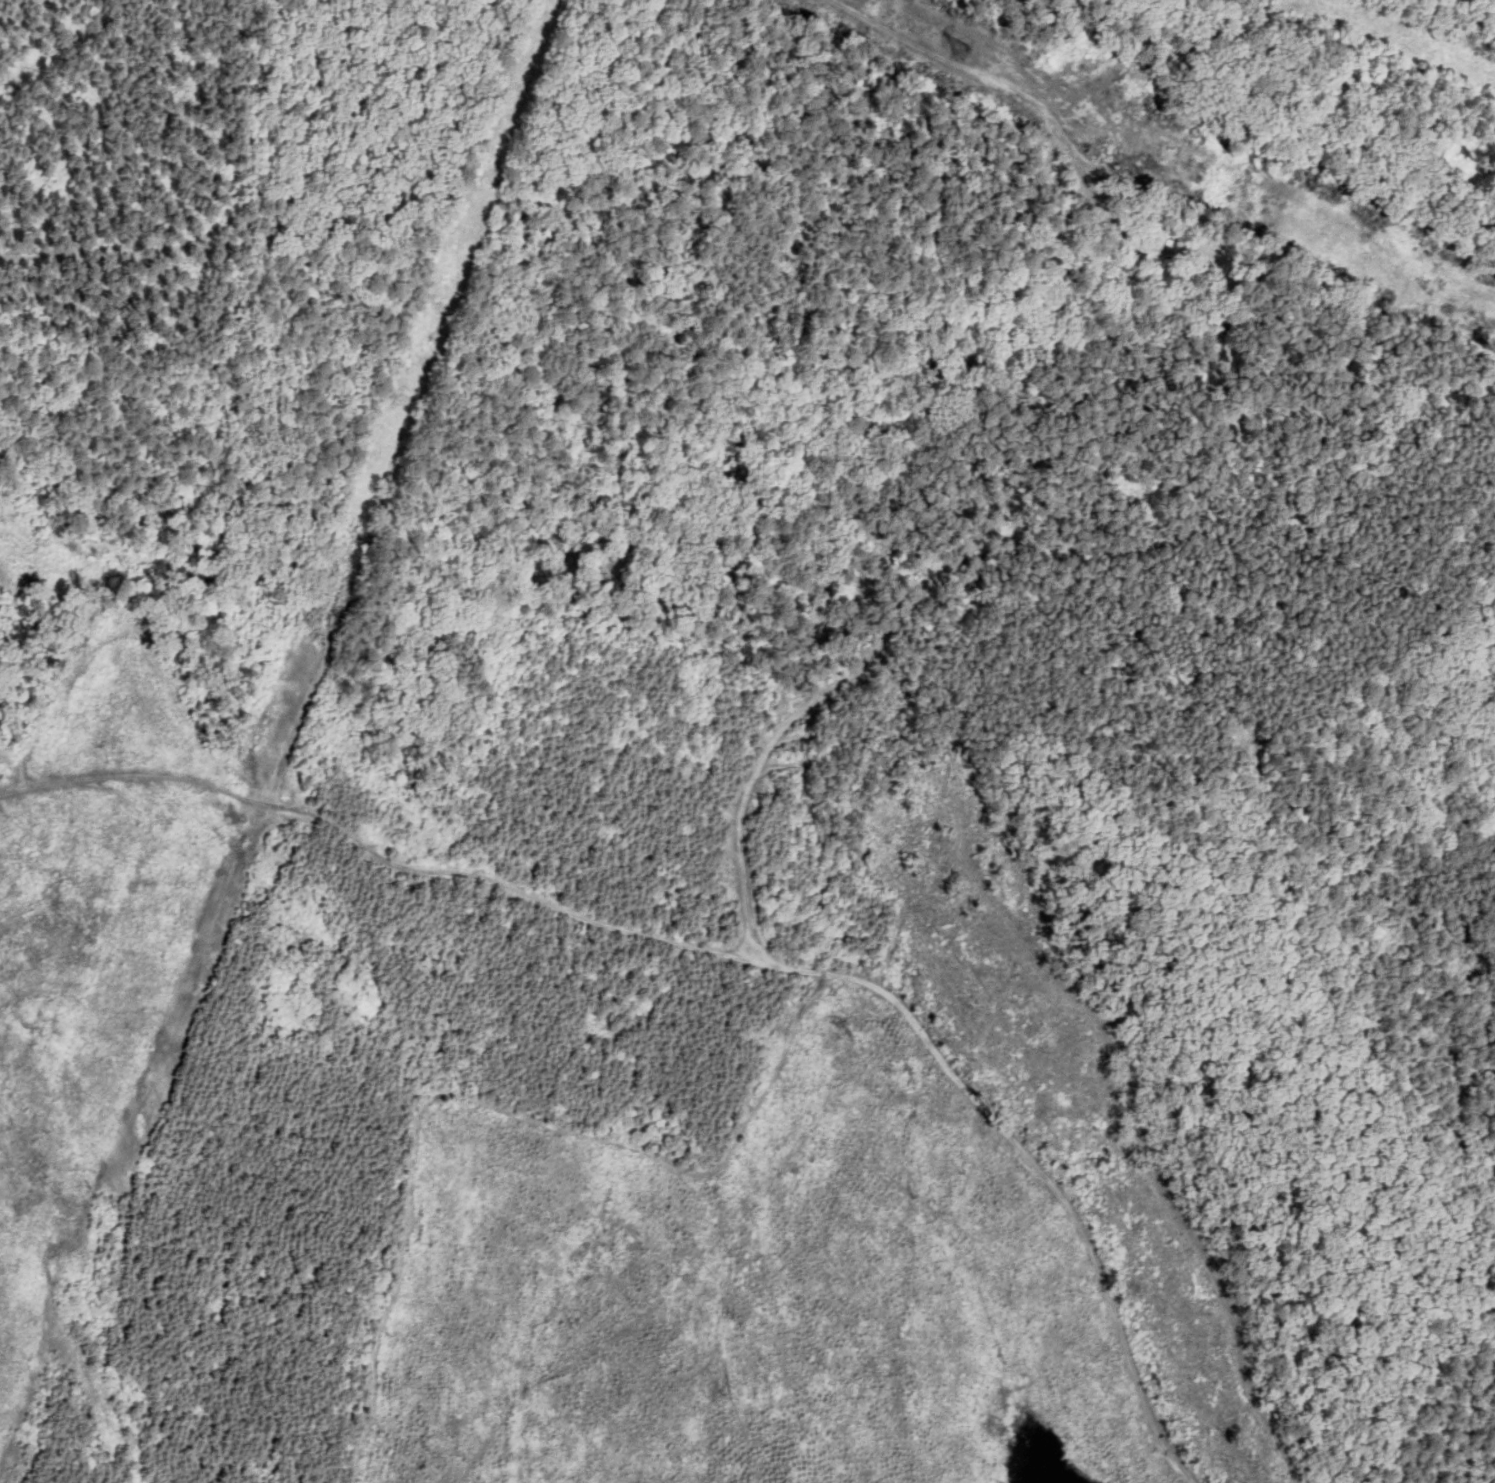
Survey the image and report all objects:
power tower: (959, 51)
road: (770, 984)

